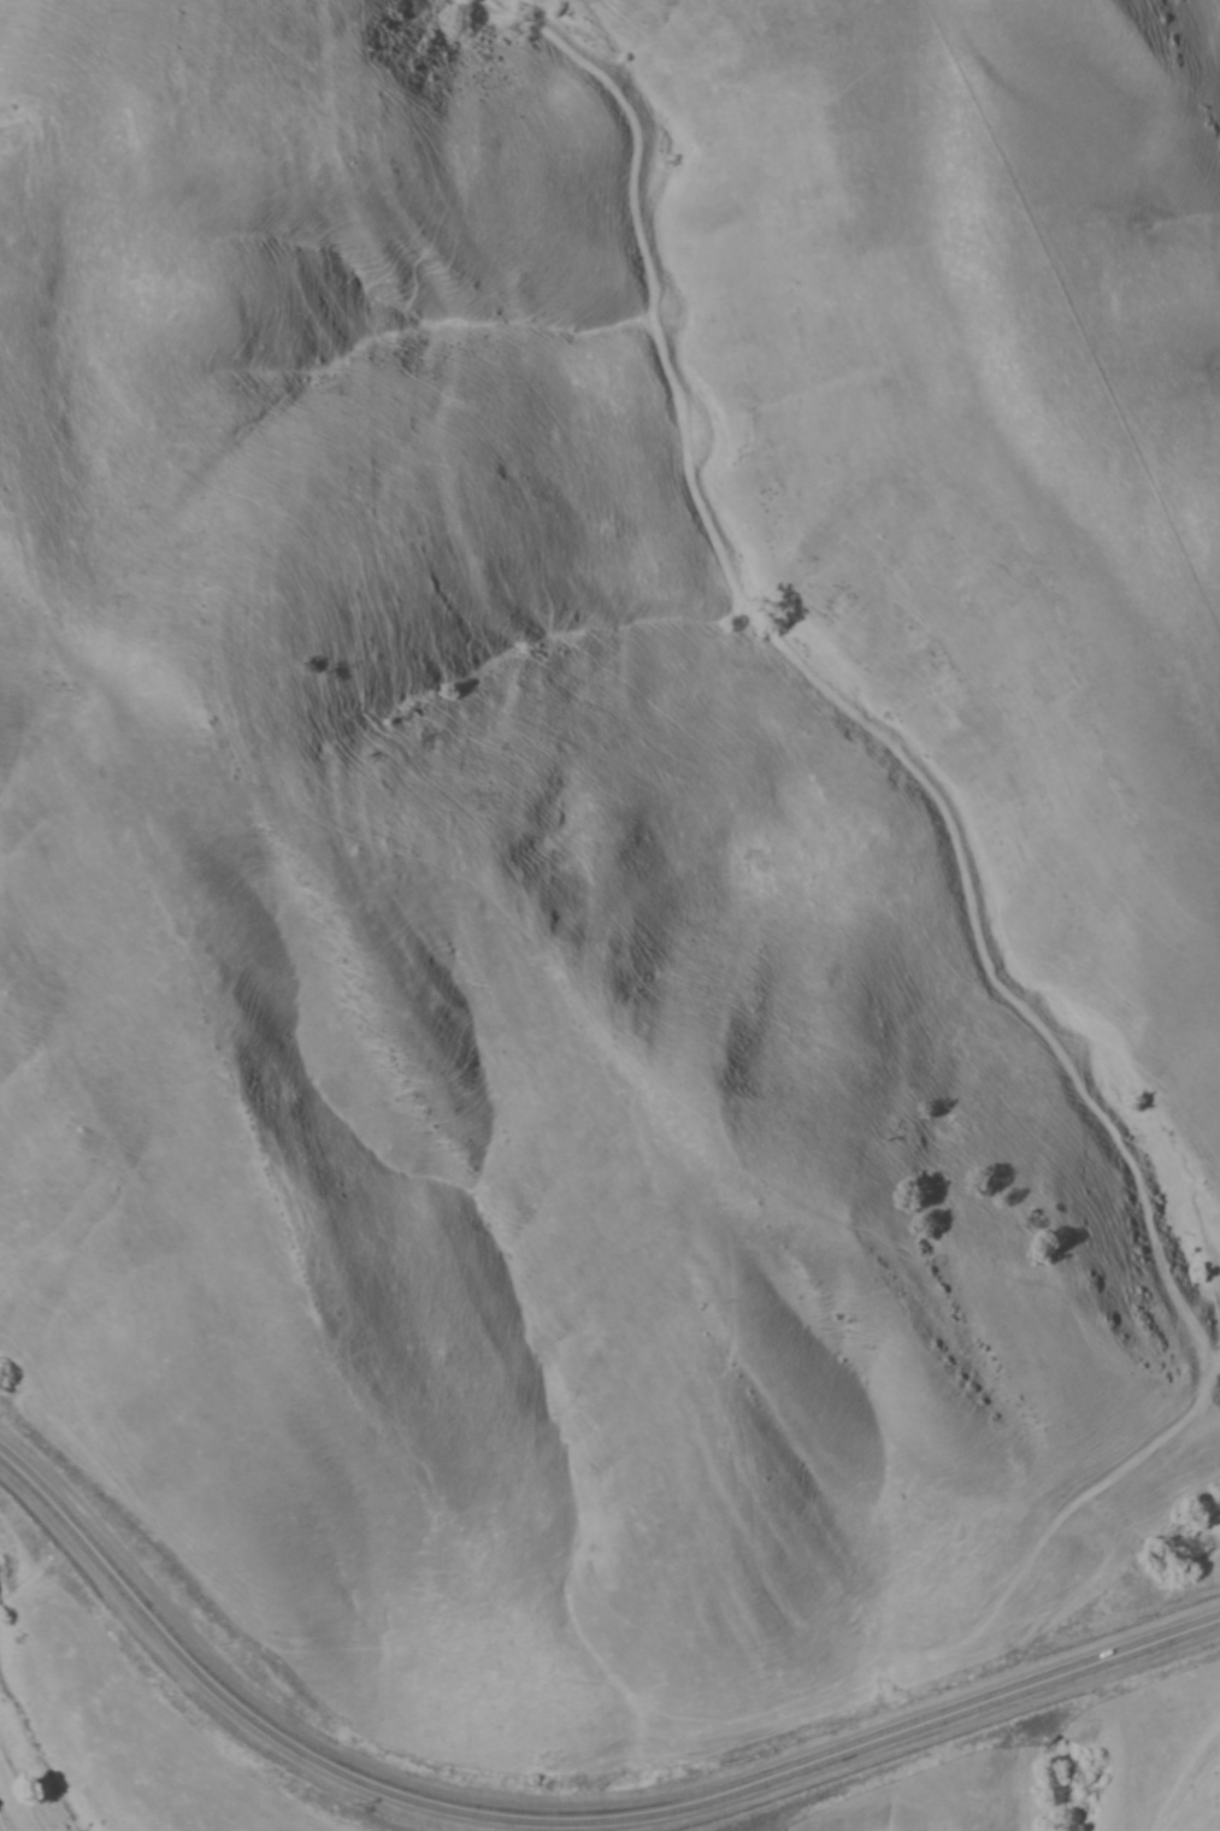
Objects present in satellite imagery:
road: (559, 1791)

